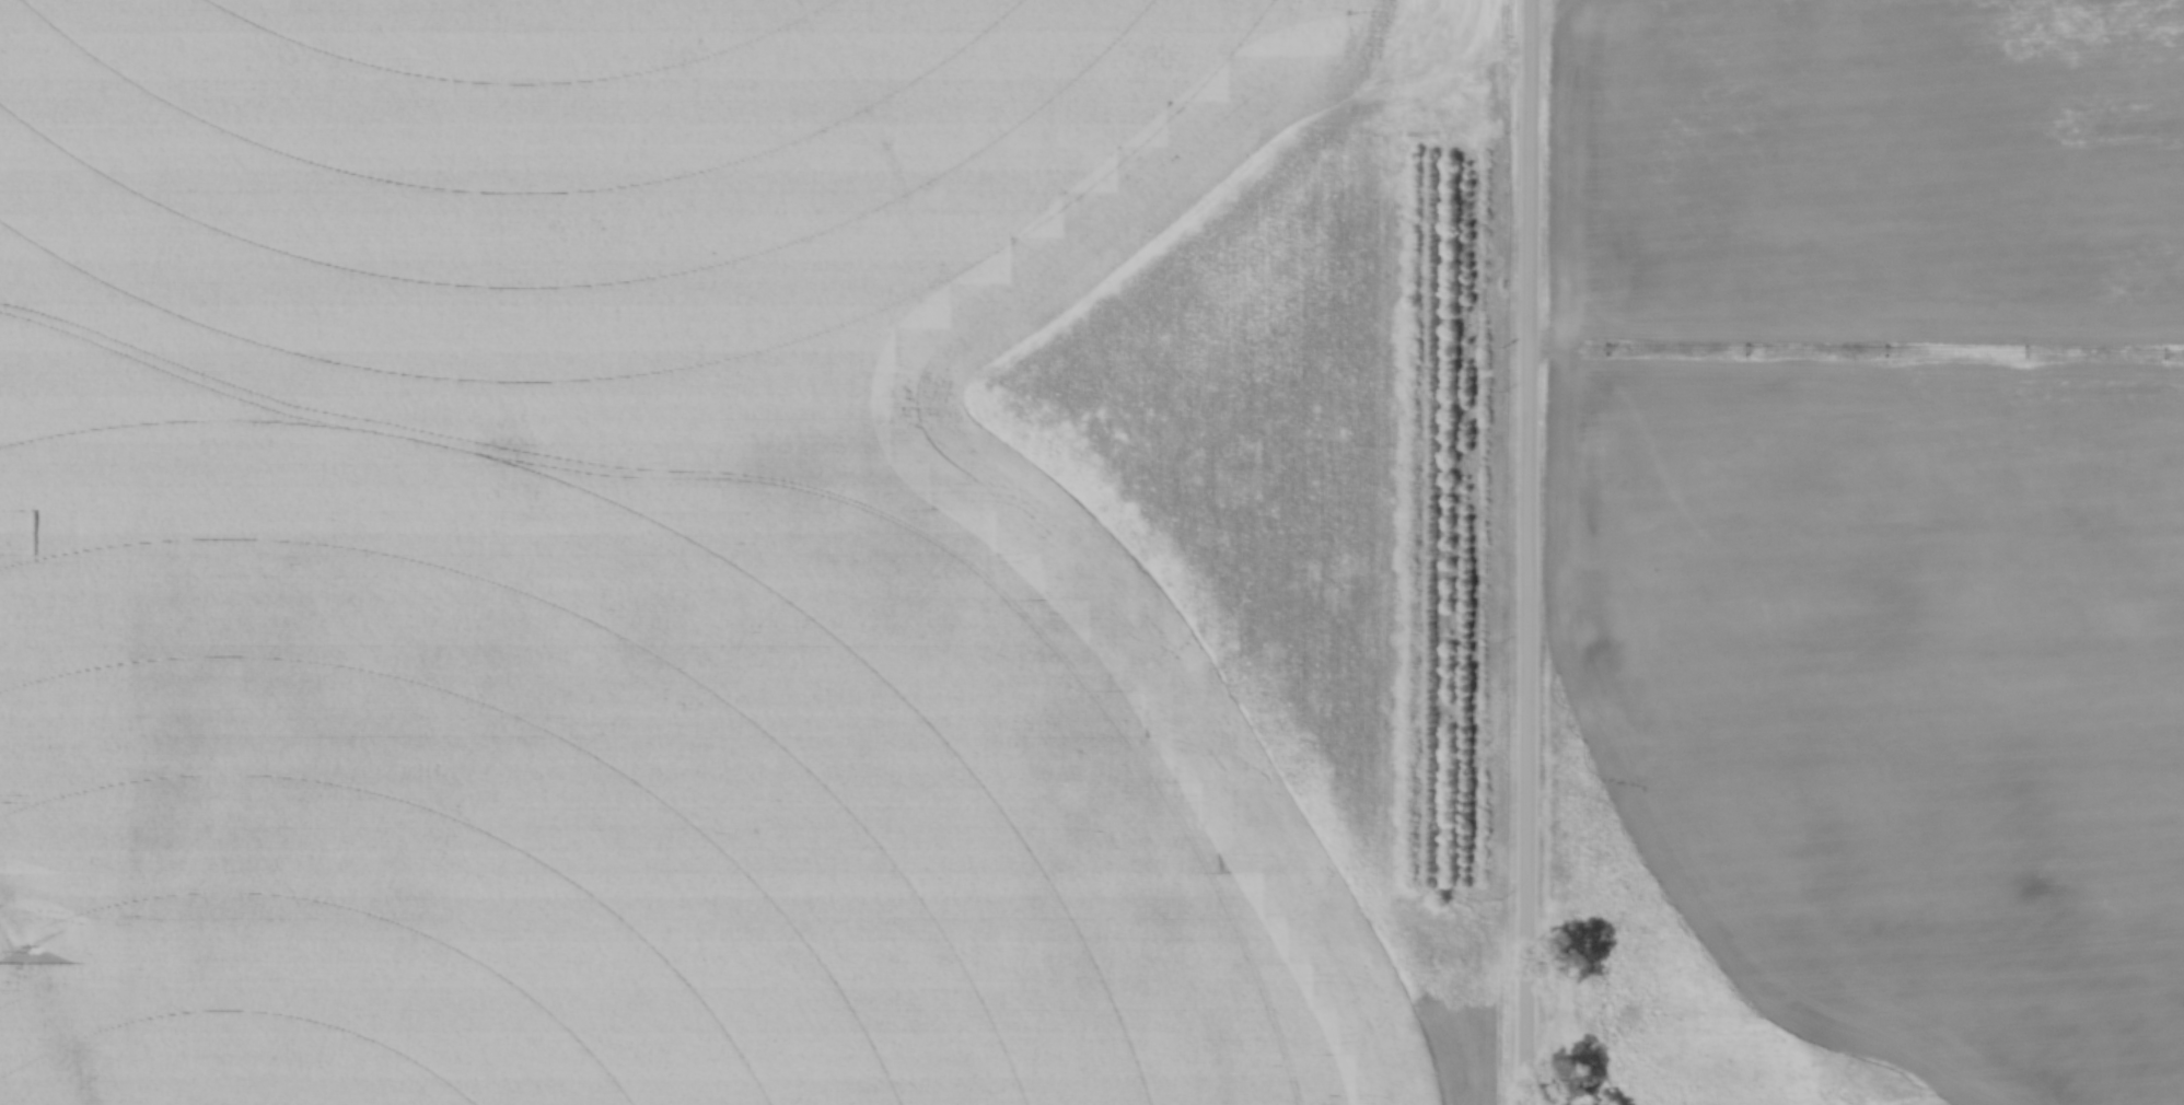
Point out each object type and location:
road: (1530, 551)
power tower: (28, 953)

